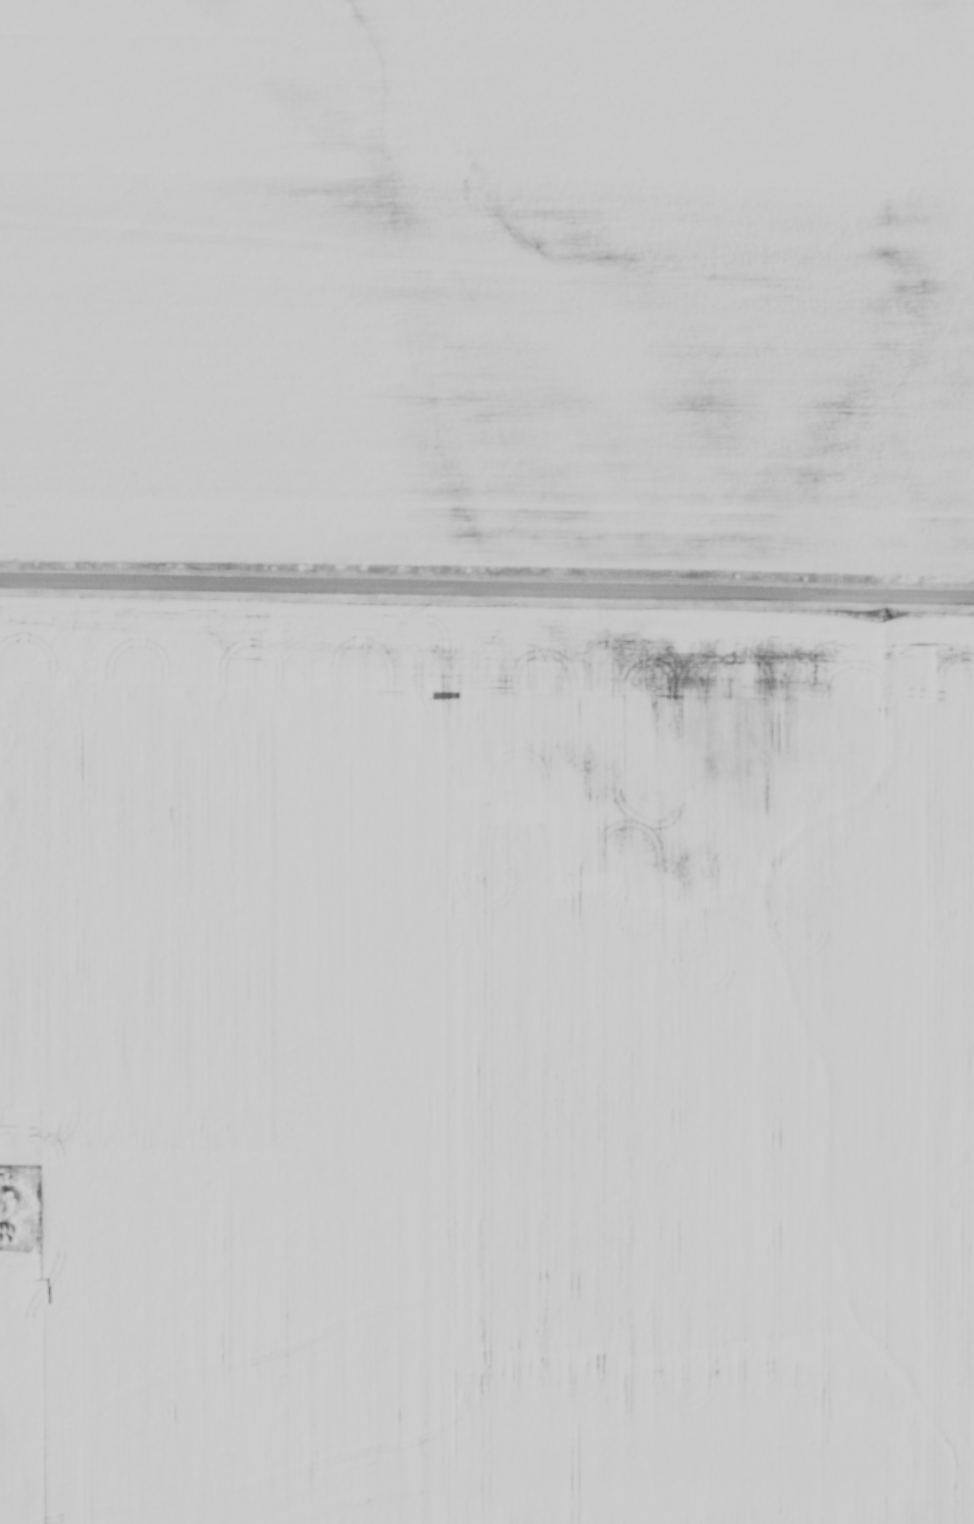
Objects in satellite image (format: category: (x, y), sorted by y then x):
road: (487, 588)

